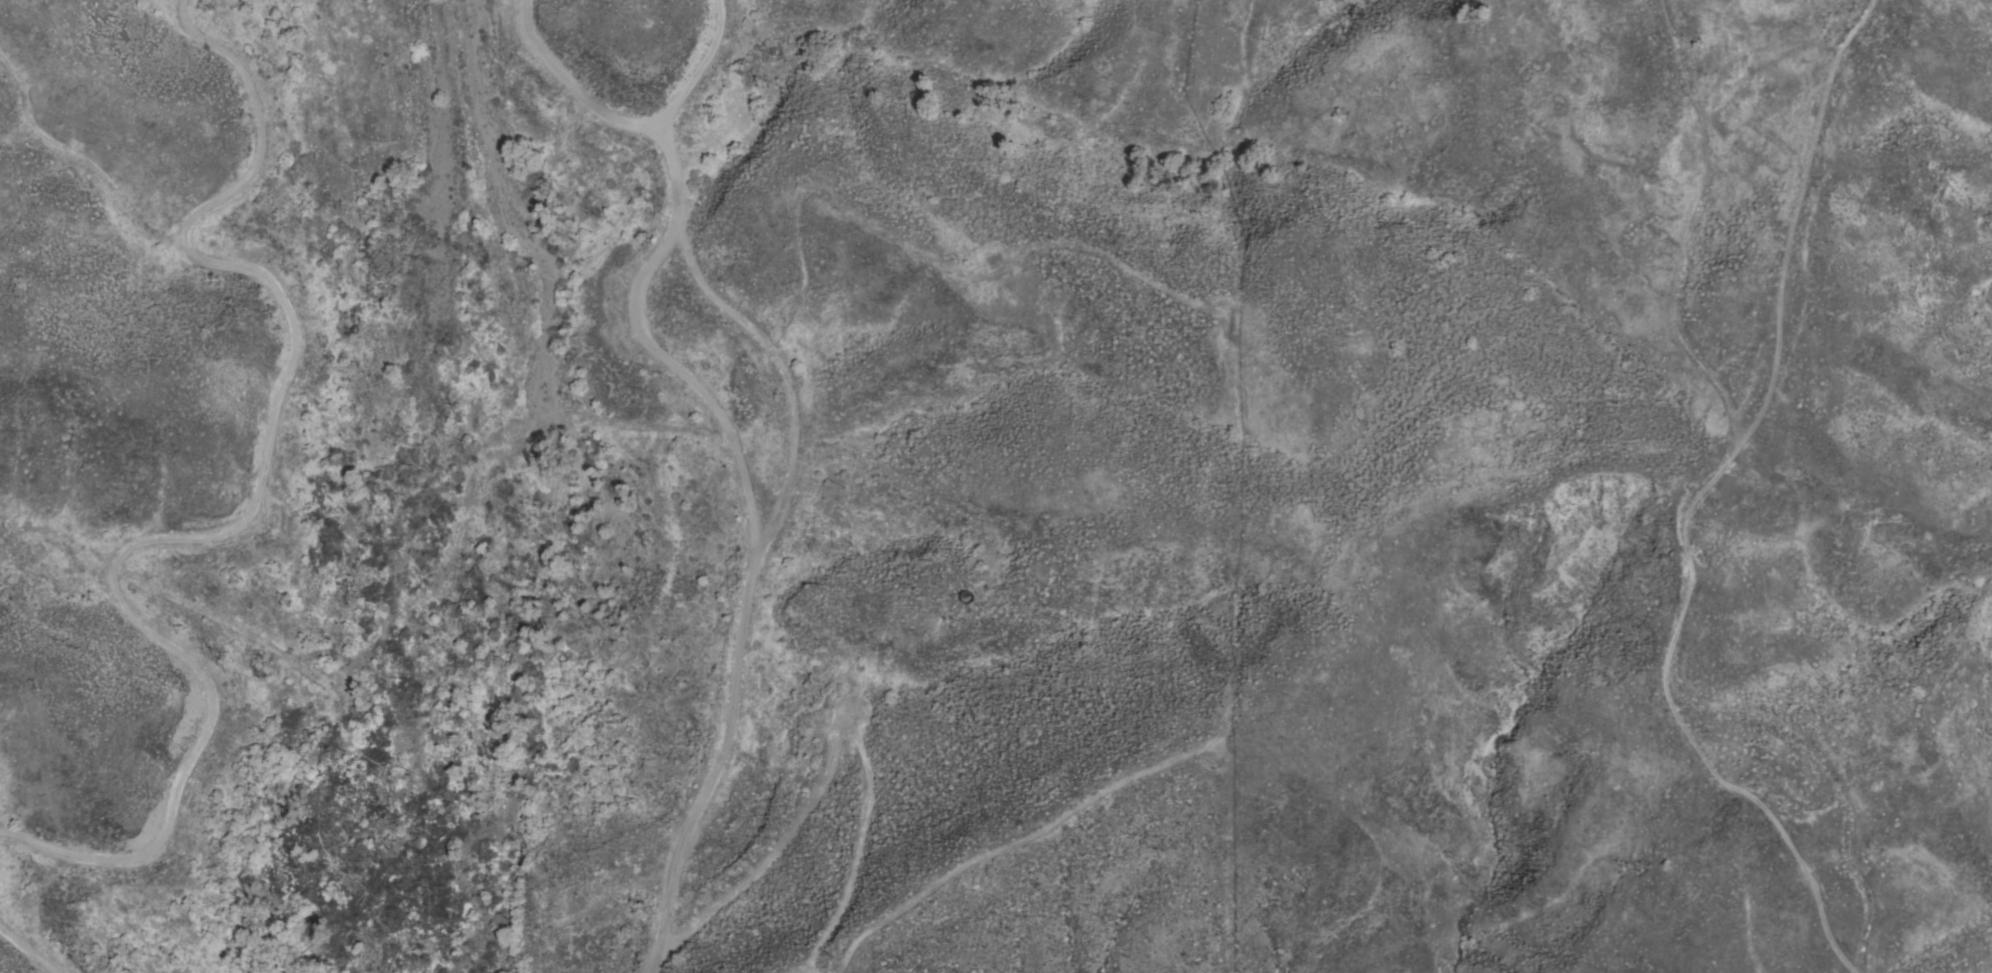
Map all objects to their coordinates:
road: (703, 67)
road: (575, 81)
road: (527, 298)
road: (650, 351)
road: (242, 530)
road: (265, 642)
road: (710, 768)
road: (16, 958)

